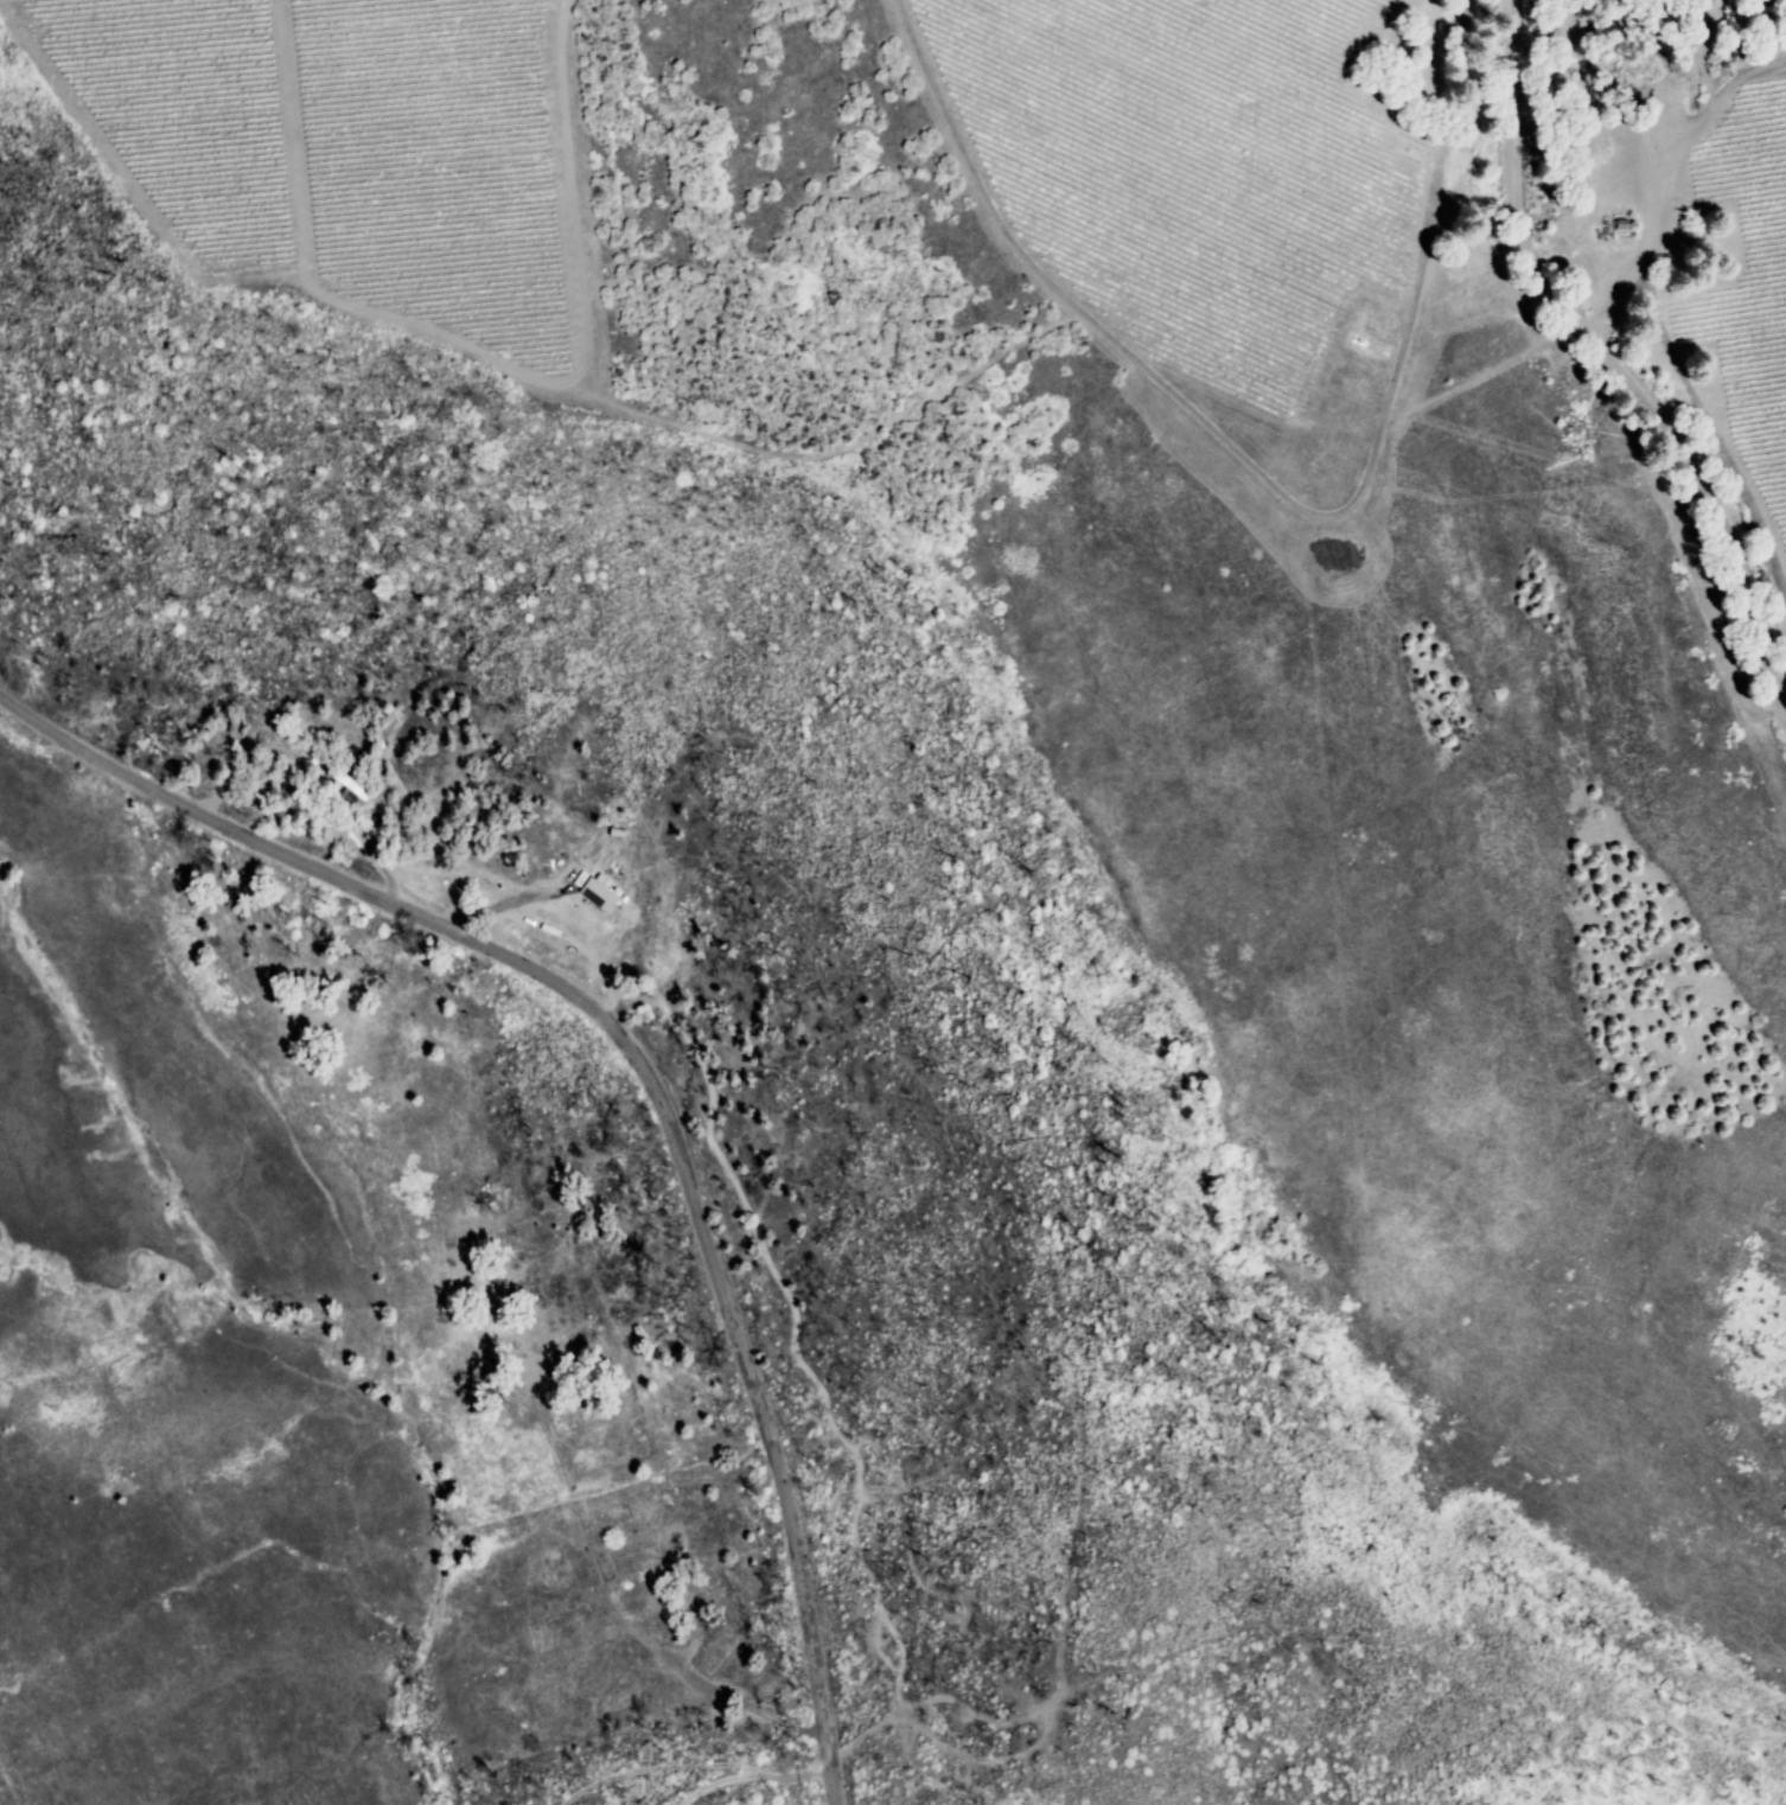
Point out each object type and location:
road: (1610, 366)
building: (347, 782)
road: (317, 804)
building: (598, 894)
road: (493, 895)
road: (643, 1076)
road: (740, 1705)
road: (652, 1767)
road: (750, 1775)

